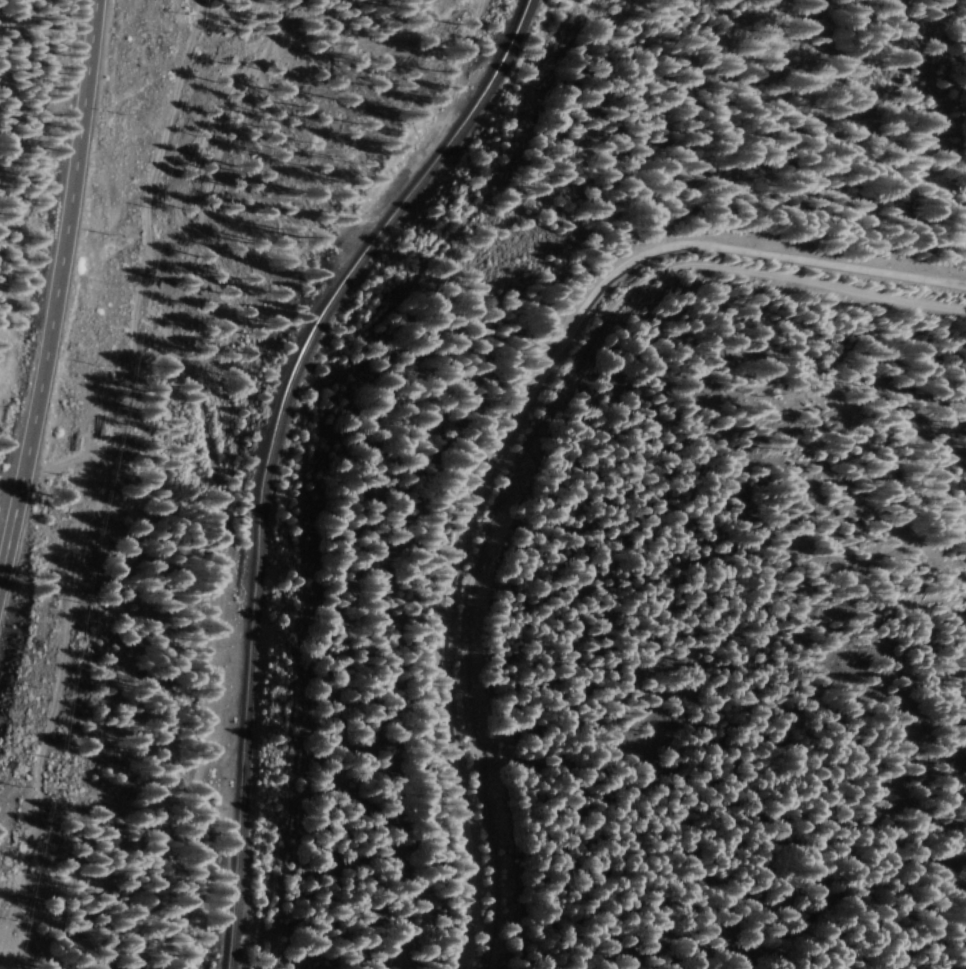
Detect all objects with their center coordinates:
road: (50, 277)
railway: (275, 450)
road: (574, 484)

